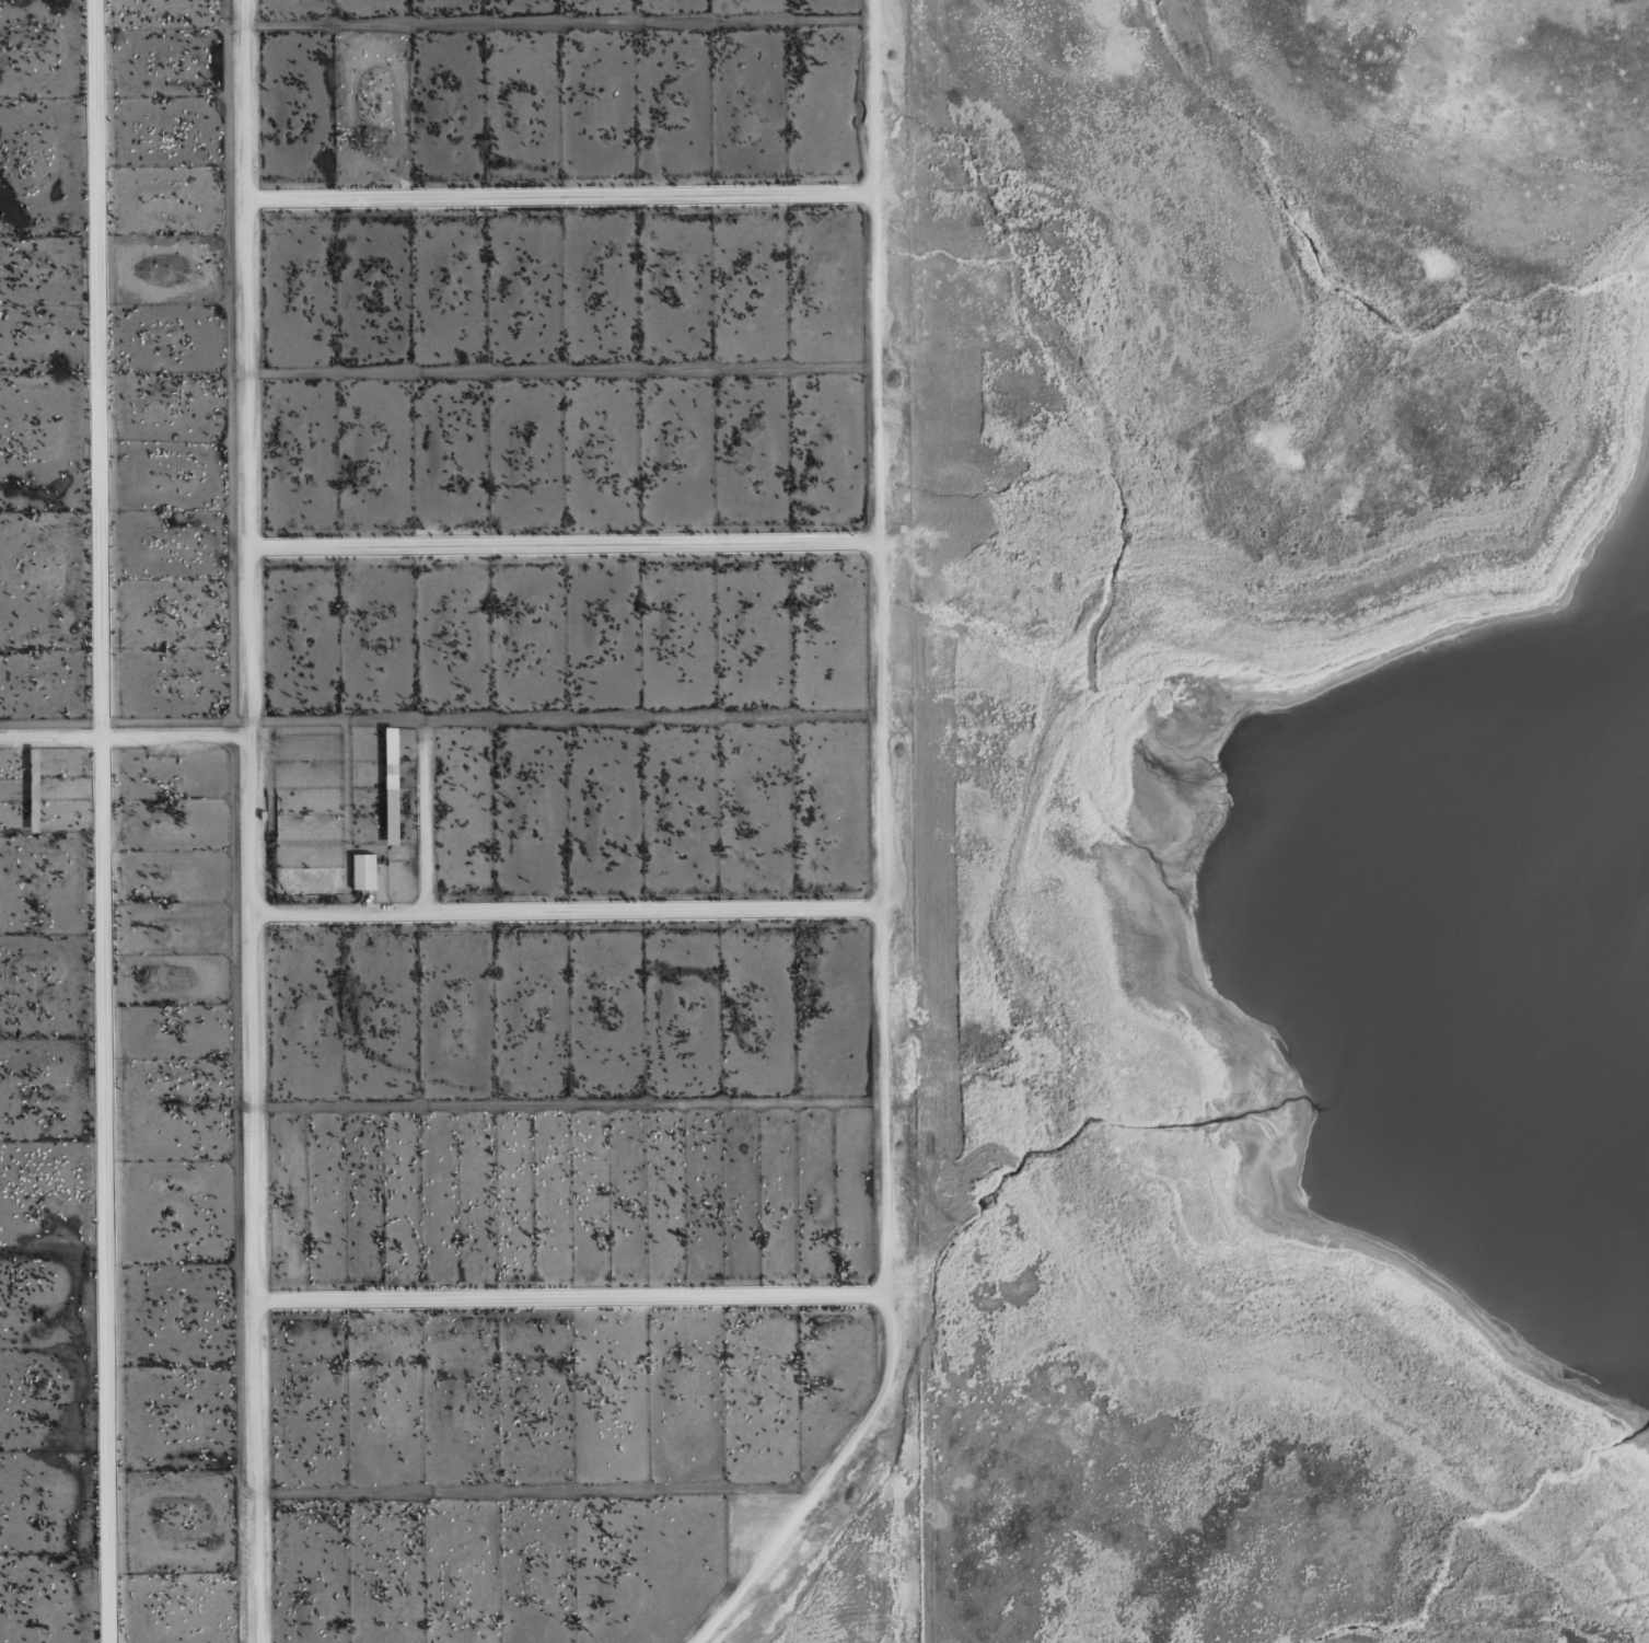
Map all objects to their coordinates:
road: (50, 739)
building: (33, 794)
road: (97, 821)
crop: (465, 831)
building: (363, 872)

